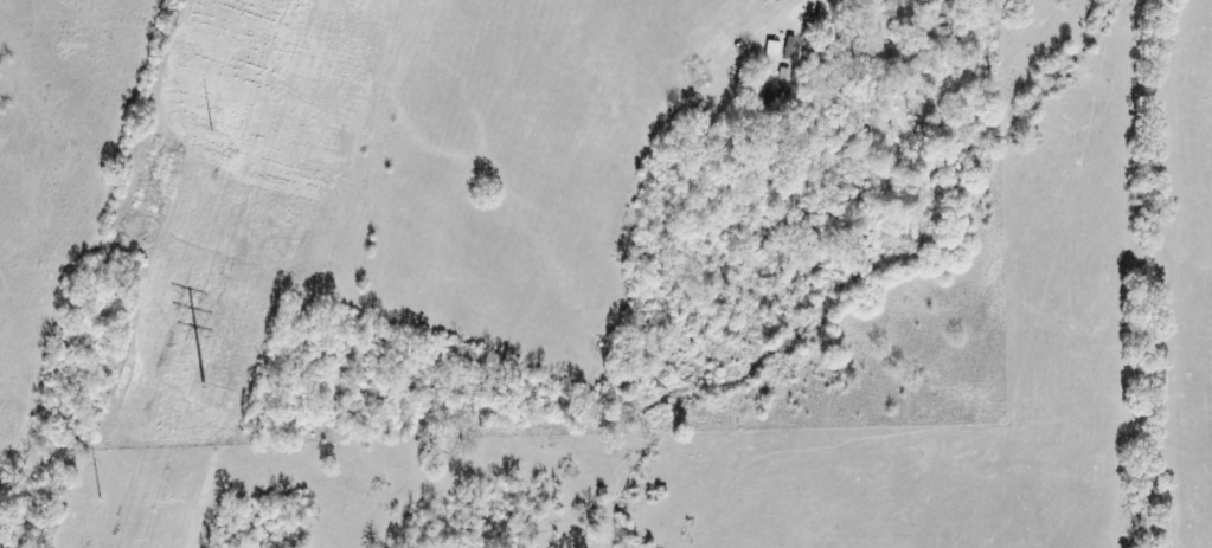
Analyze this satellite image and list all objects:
power tower: (210, 131)
power tower: (98, 498)

